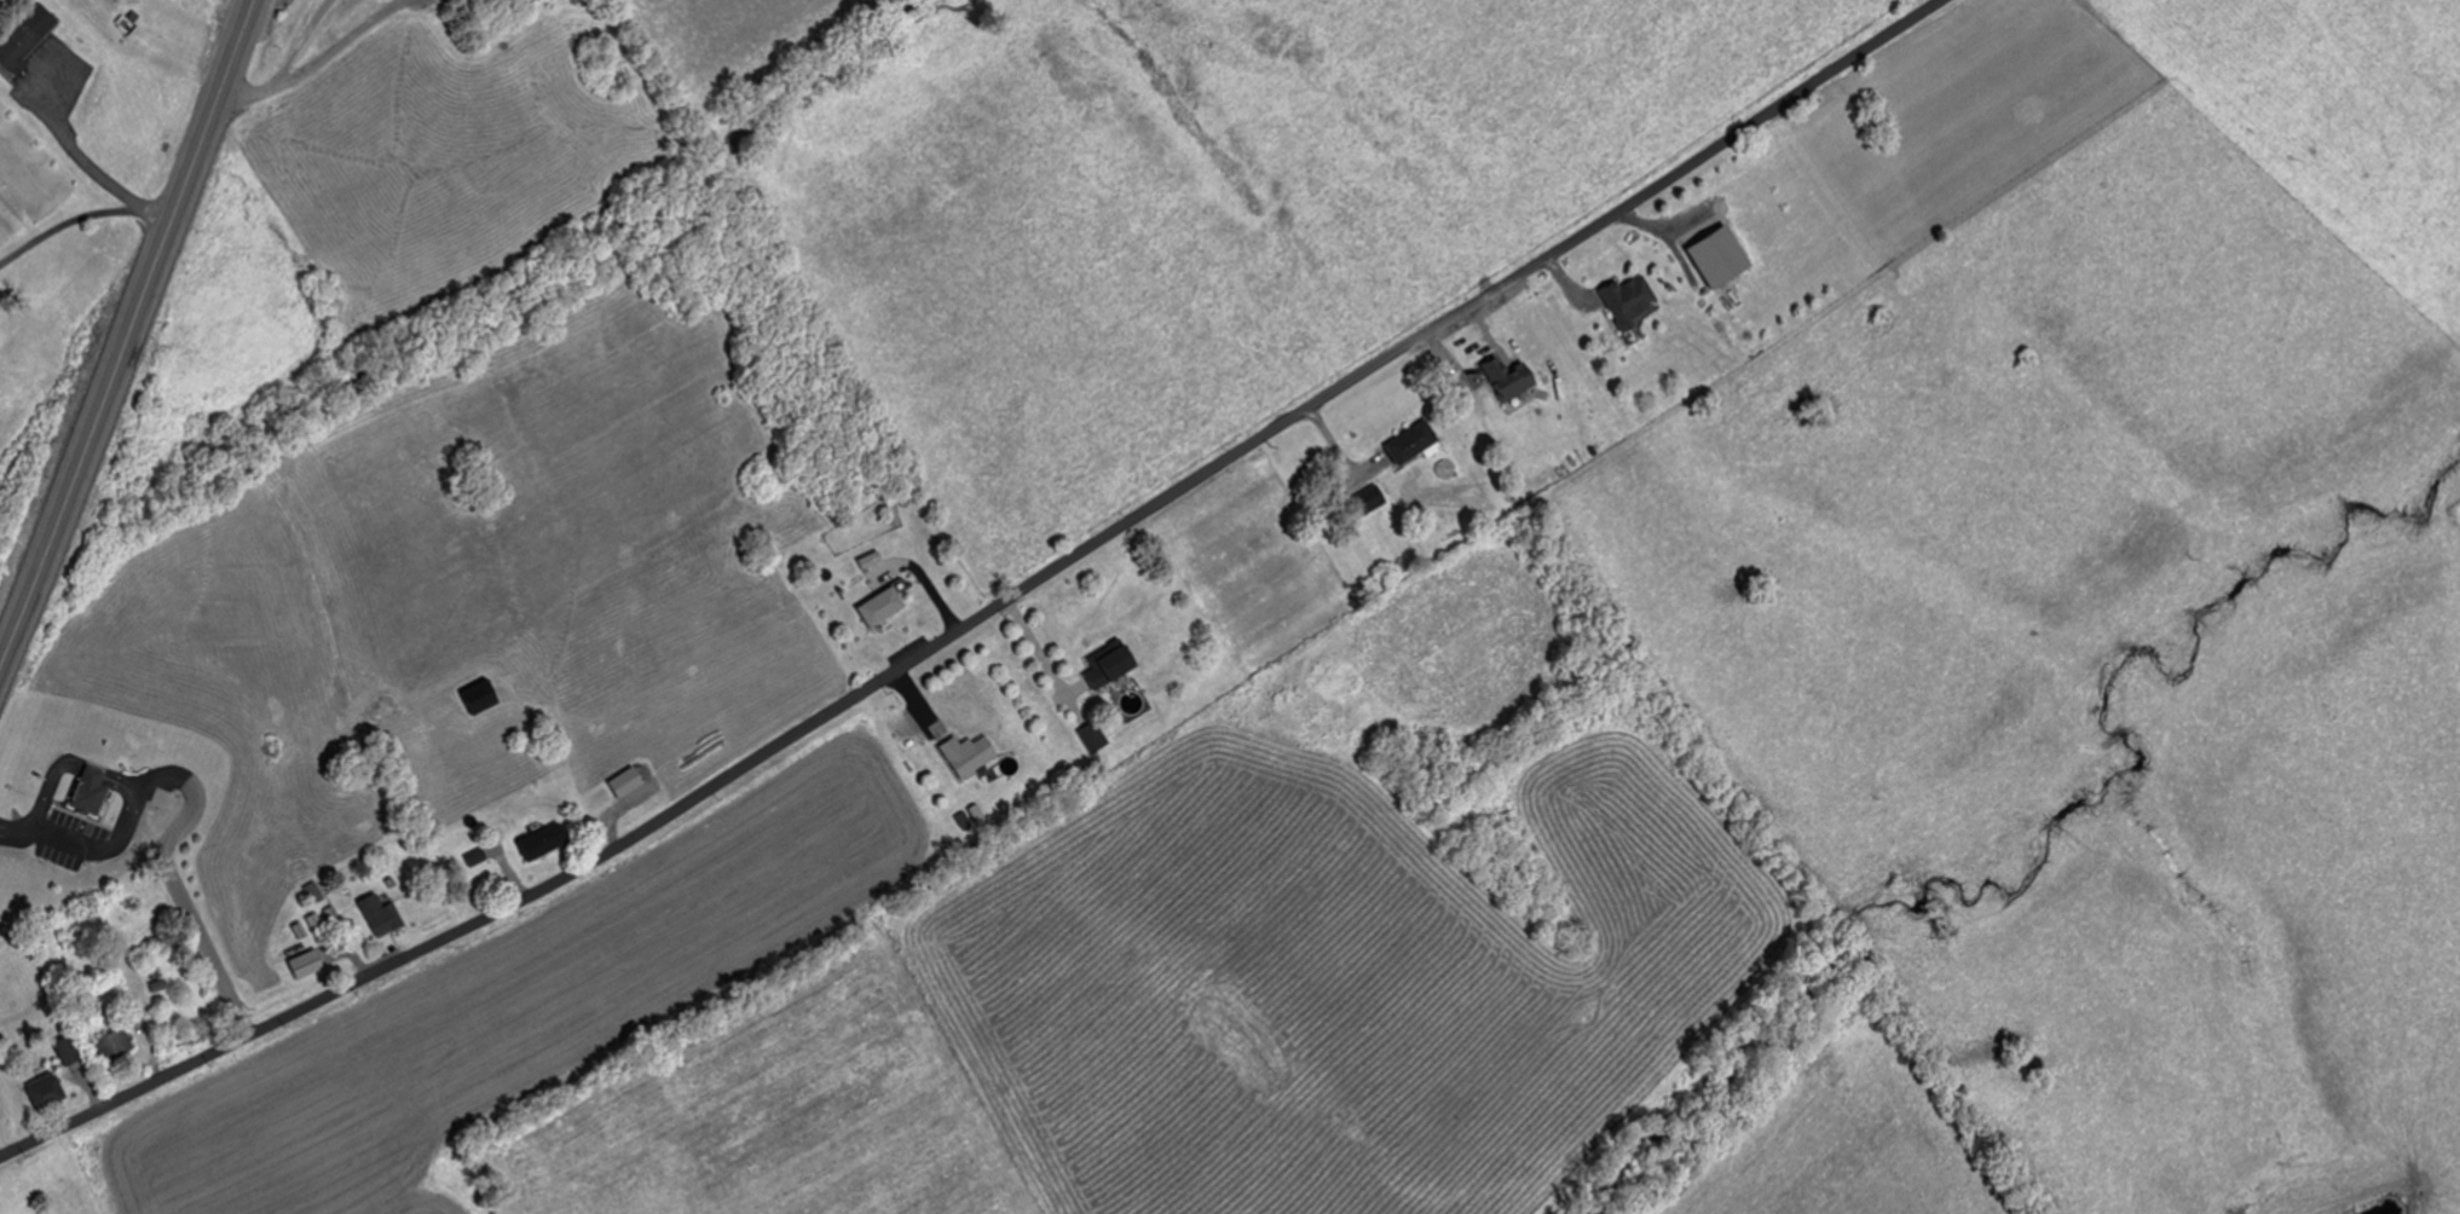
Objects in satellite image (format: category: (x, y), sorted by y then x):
building: (0, 0)
building: (29, 34)
road: (288, 65)
building: (1630, 301)
road: (128, 330)
building: (1511, 378)
building: (1413, 441)
building: (1370, 501)
building: (883, 607)
road: (986, 609)
building: (1113, 664)
building: (483, 698)
building: (970, 753)
road: (104, 775)
road: (41, 788)
building: (86, 792)
road: (187, 803)
road: (2, 823)
building: (544, 840)
building: (377, 909)
building: (69, 1050)
building: (46, 1091)

